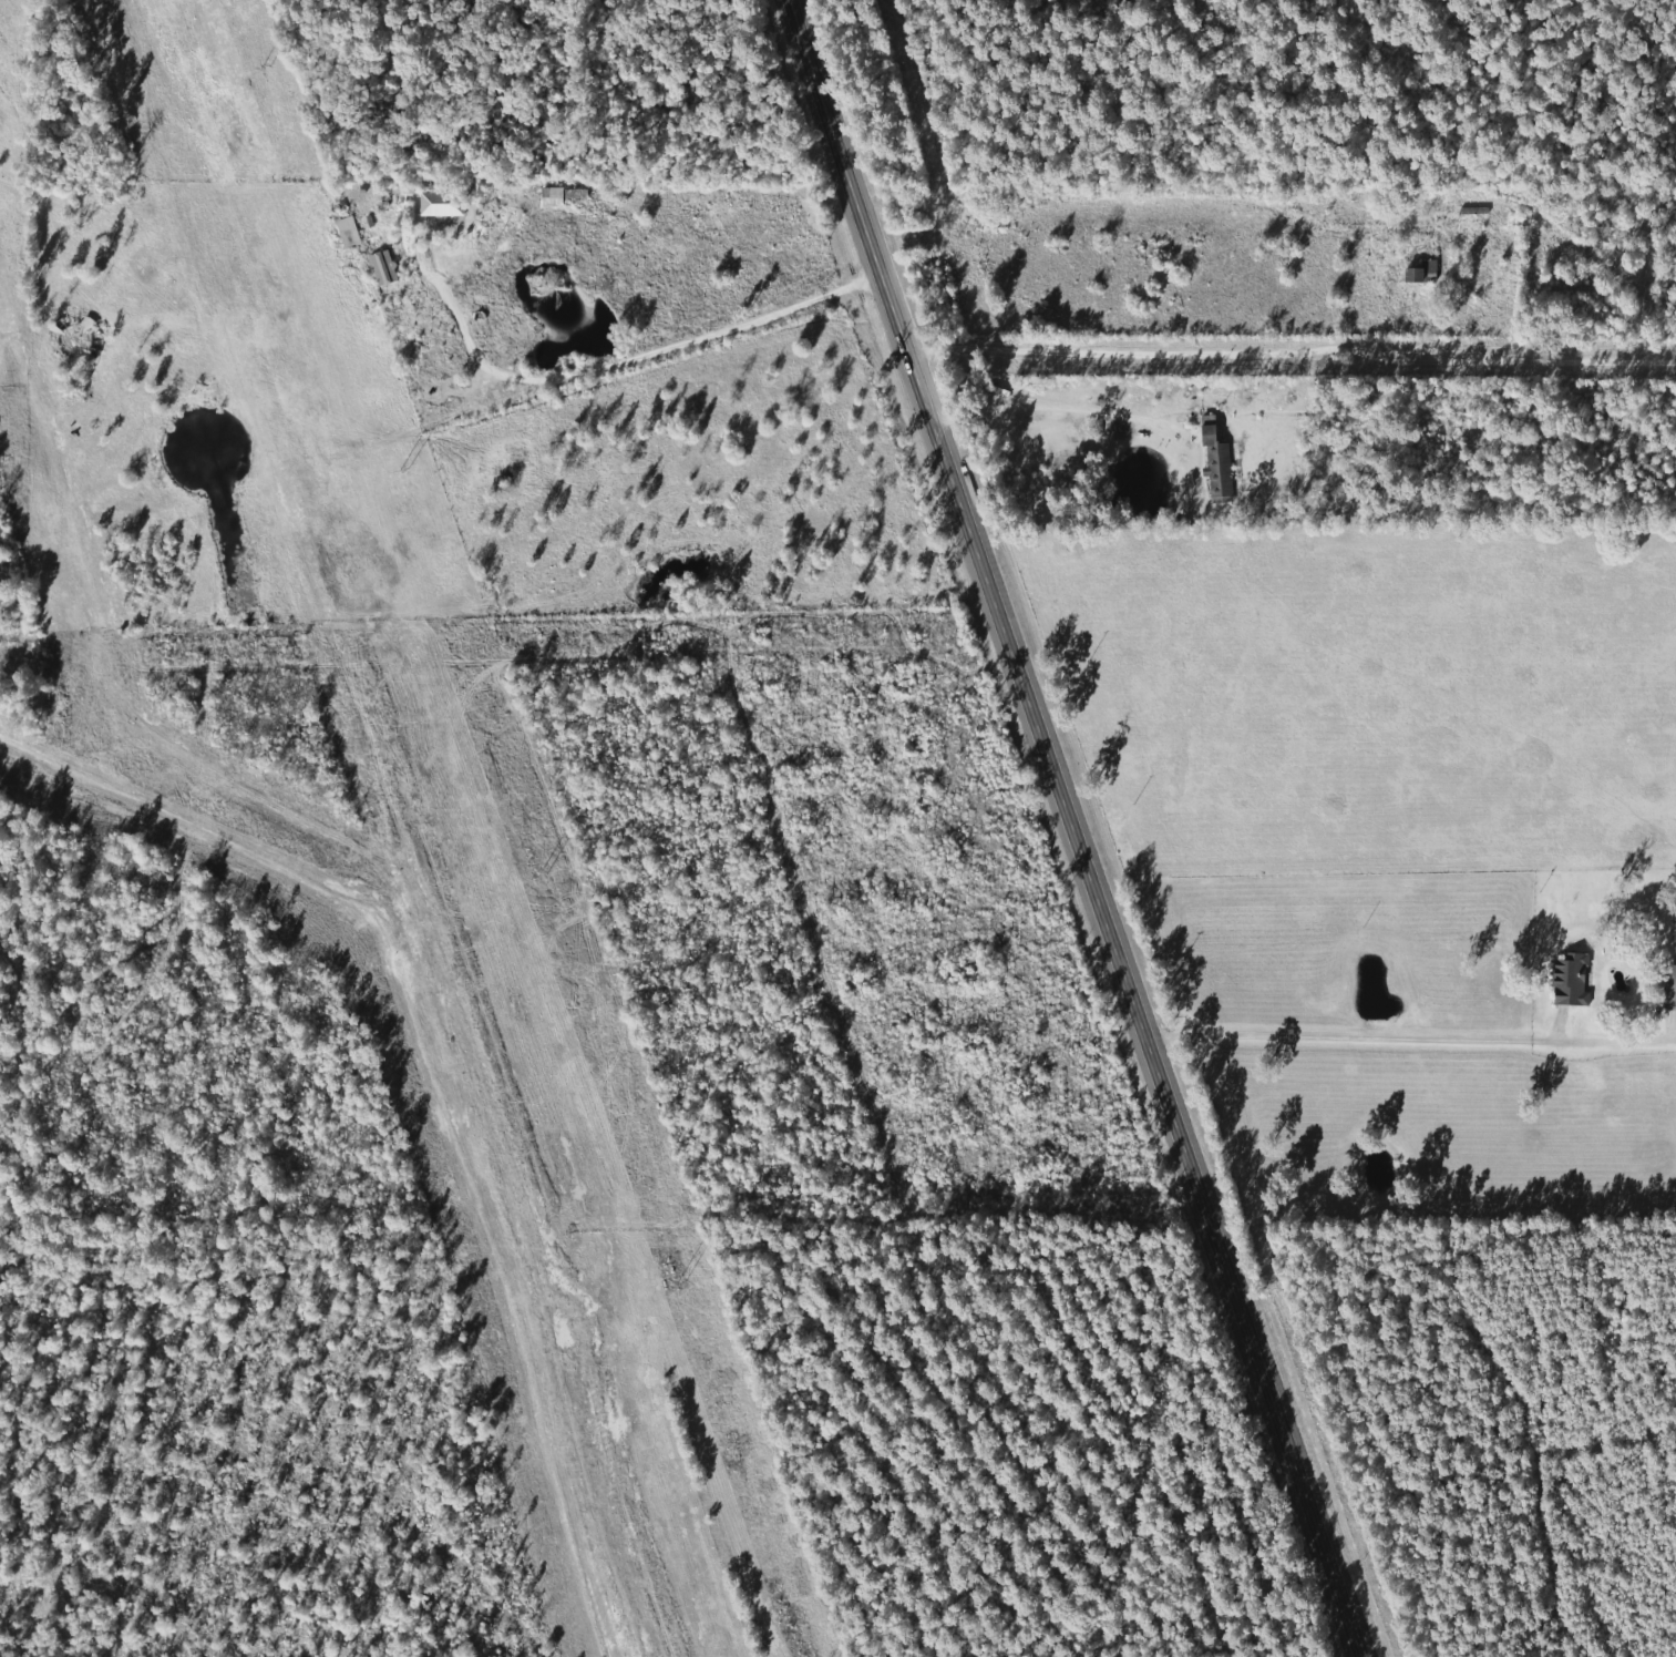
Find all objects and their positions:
power tower: (263, 69)
road: (1162, 197)
building: (435, 206)
building: (379, 268)
building: (1418, 274)
road: (1291, 351)
road: (644, 360)
power tower: (404, 468)
building: (1214, 468)
road: (1073, 828)
power tower: (543, 871)
building: (1569, 980)
building: (1668, 988)
road: (1385, 1039)
power tower: (678, 1280)

